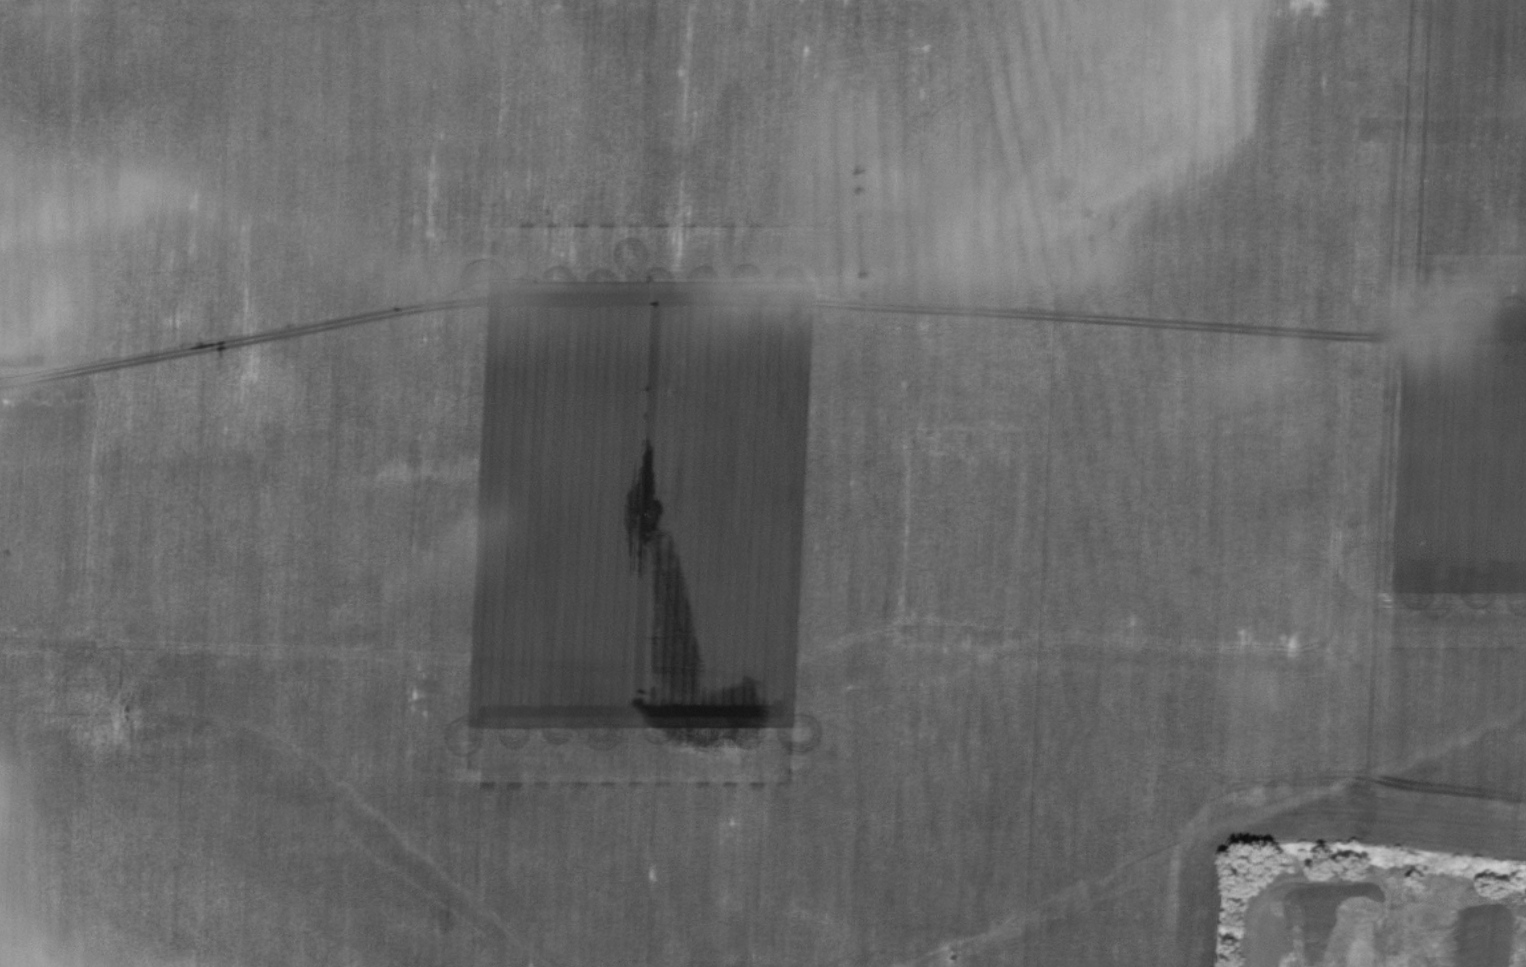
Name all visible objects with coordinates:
quarry: (1368, 908)

